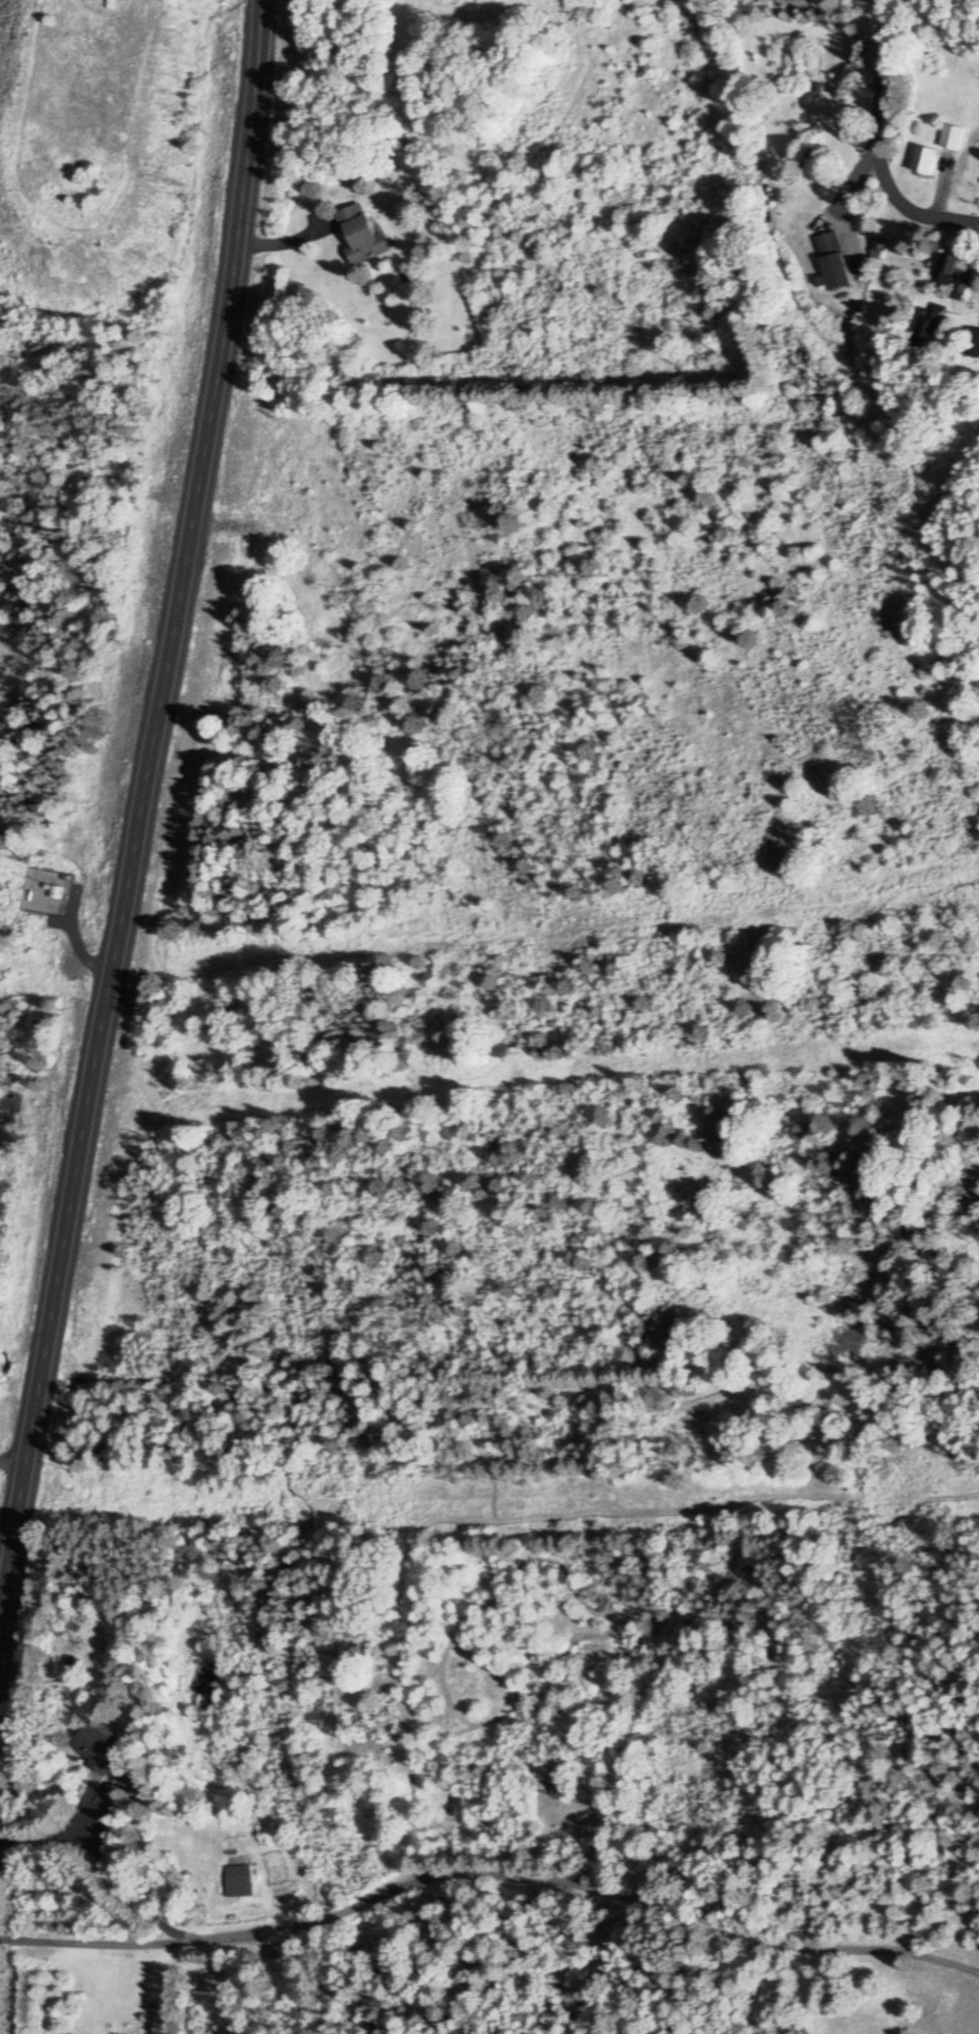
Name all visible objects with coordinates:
road: (884, 81)
road: (249, 112)
building: (951, 138)
building: (924, 163)
road: (932, 178)
building: (361, 236)
building: (834, 264)
building: (950, 276)
building: (932, 325)
building: (974, 345)
road: (119, 920)
road: (13, 1457)
building: (107, 1755)
road: (490, 1874)
building: (237, 1883)
building: (274, 1954)

